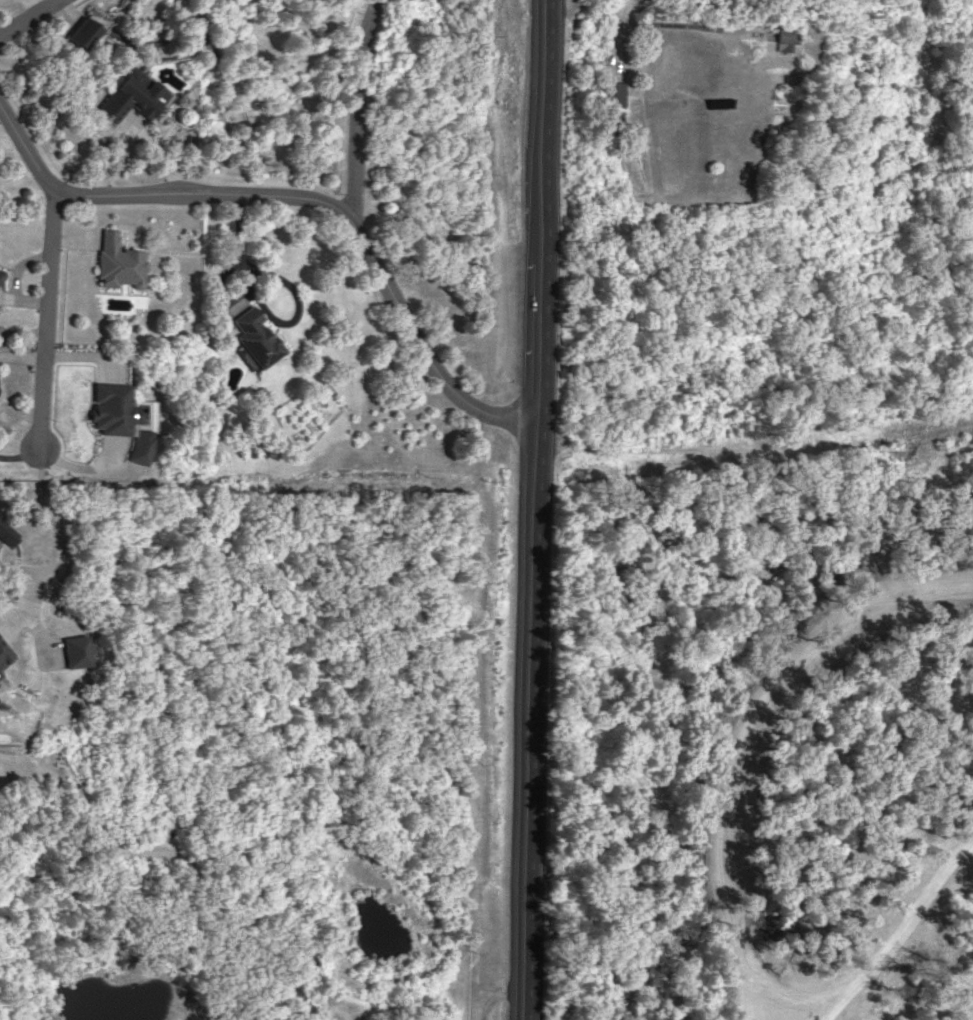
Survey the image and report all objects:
road: (28, 17)
building: (84, 29)
building: (785, 38)
building: (615, 93)
building: (130, 96)
road: (200, 195)
road: (362, 253)
road: (234, 255)
building: (117, 261)
building: (0, 271)
road: (45, 272)
building: (254, 337)
building: (109, 407)
road: (791, 443)
building: (137, 445)
road: (536, 510)
building: (6, 532)
building: (74, 649)
building: (3, 654)
building: (0, 675)
road: (757, 736)
road: (893, 943)

